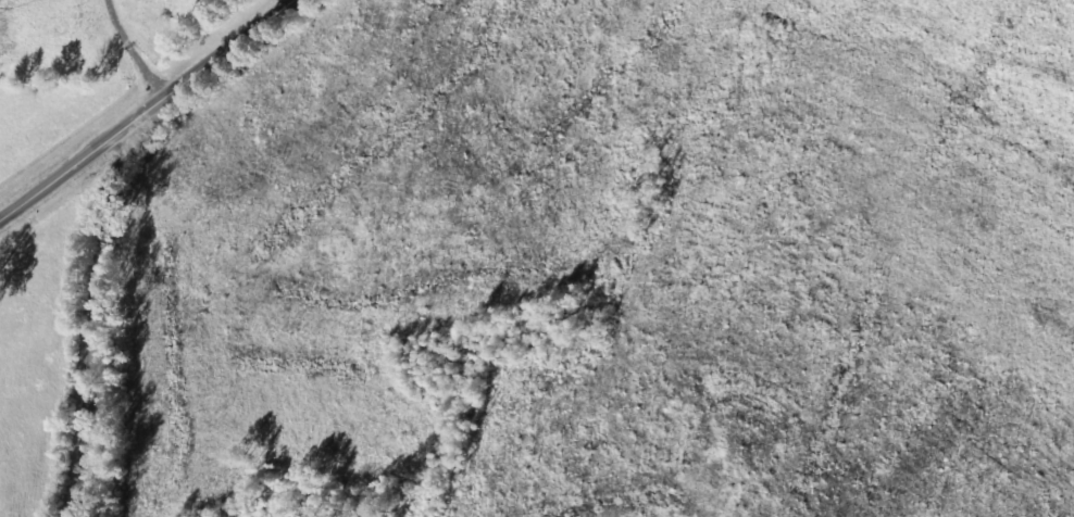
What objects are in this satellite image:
road: (147, 110)

